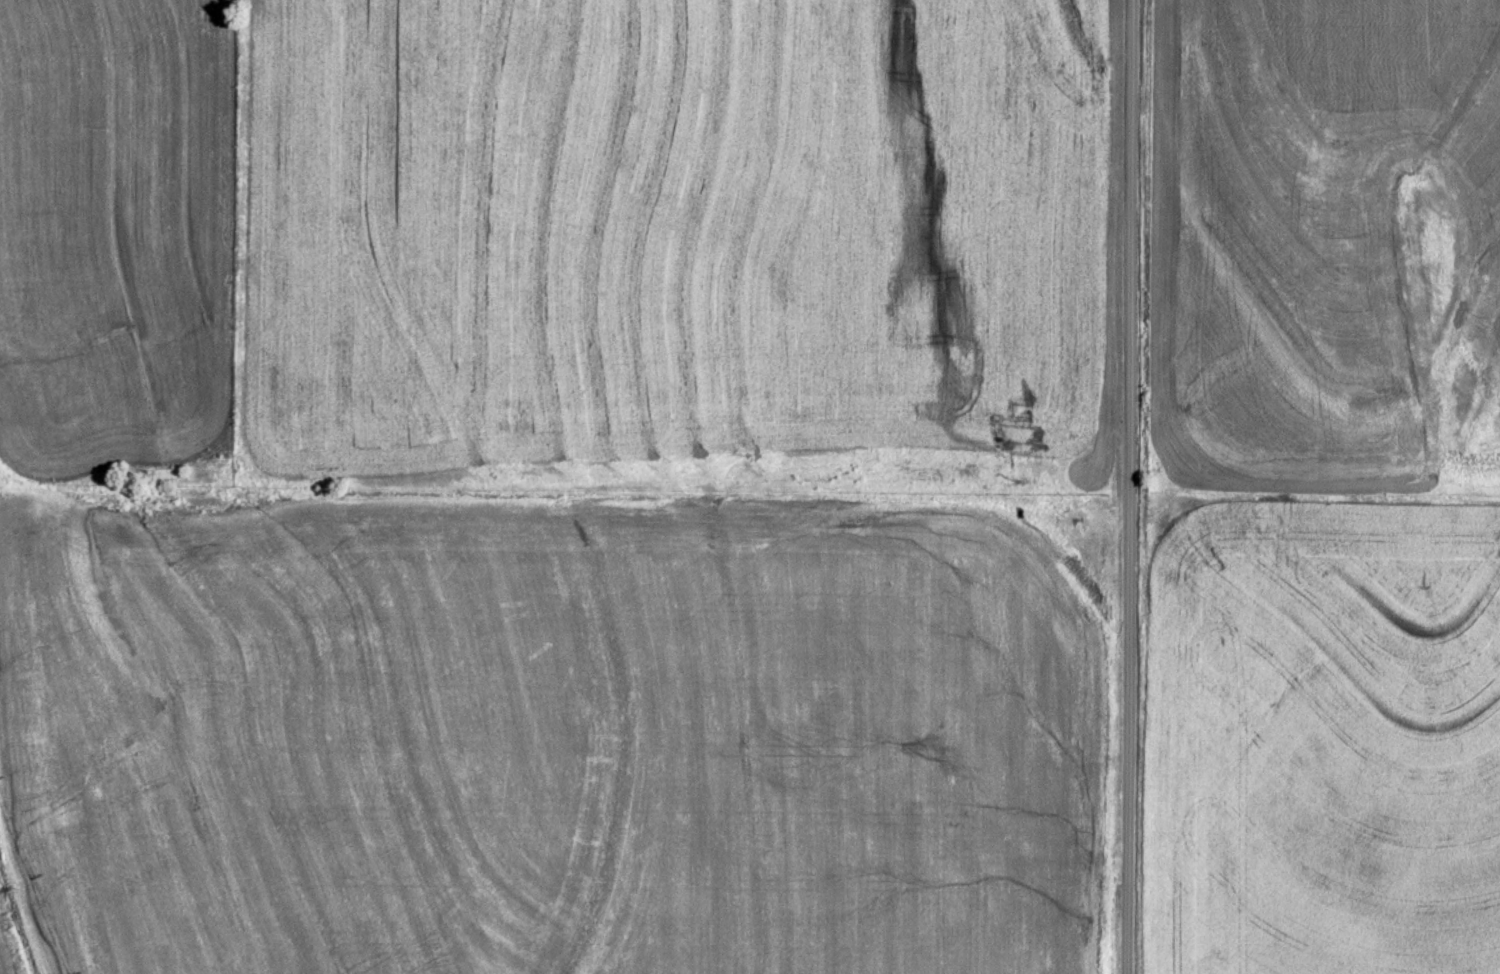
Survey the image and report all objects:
road: (1128, 487)

